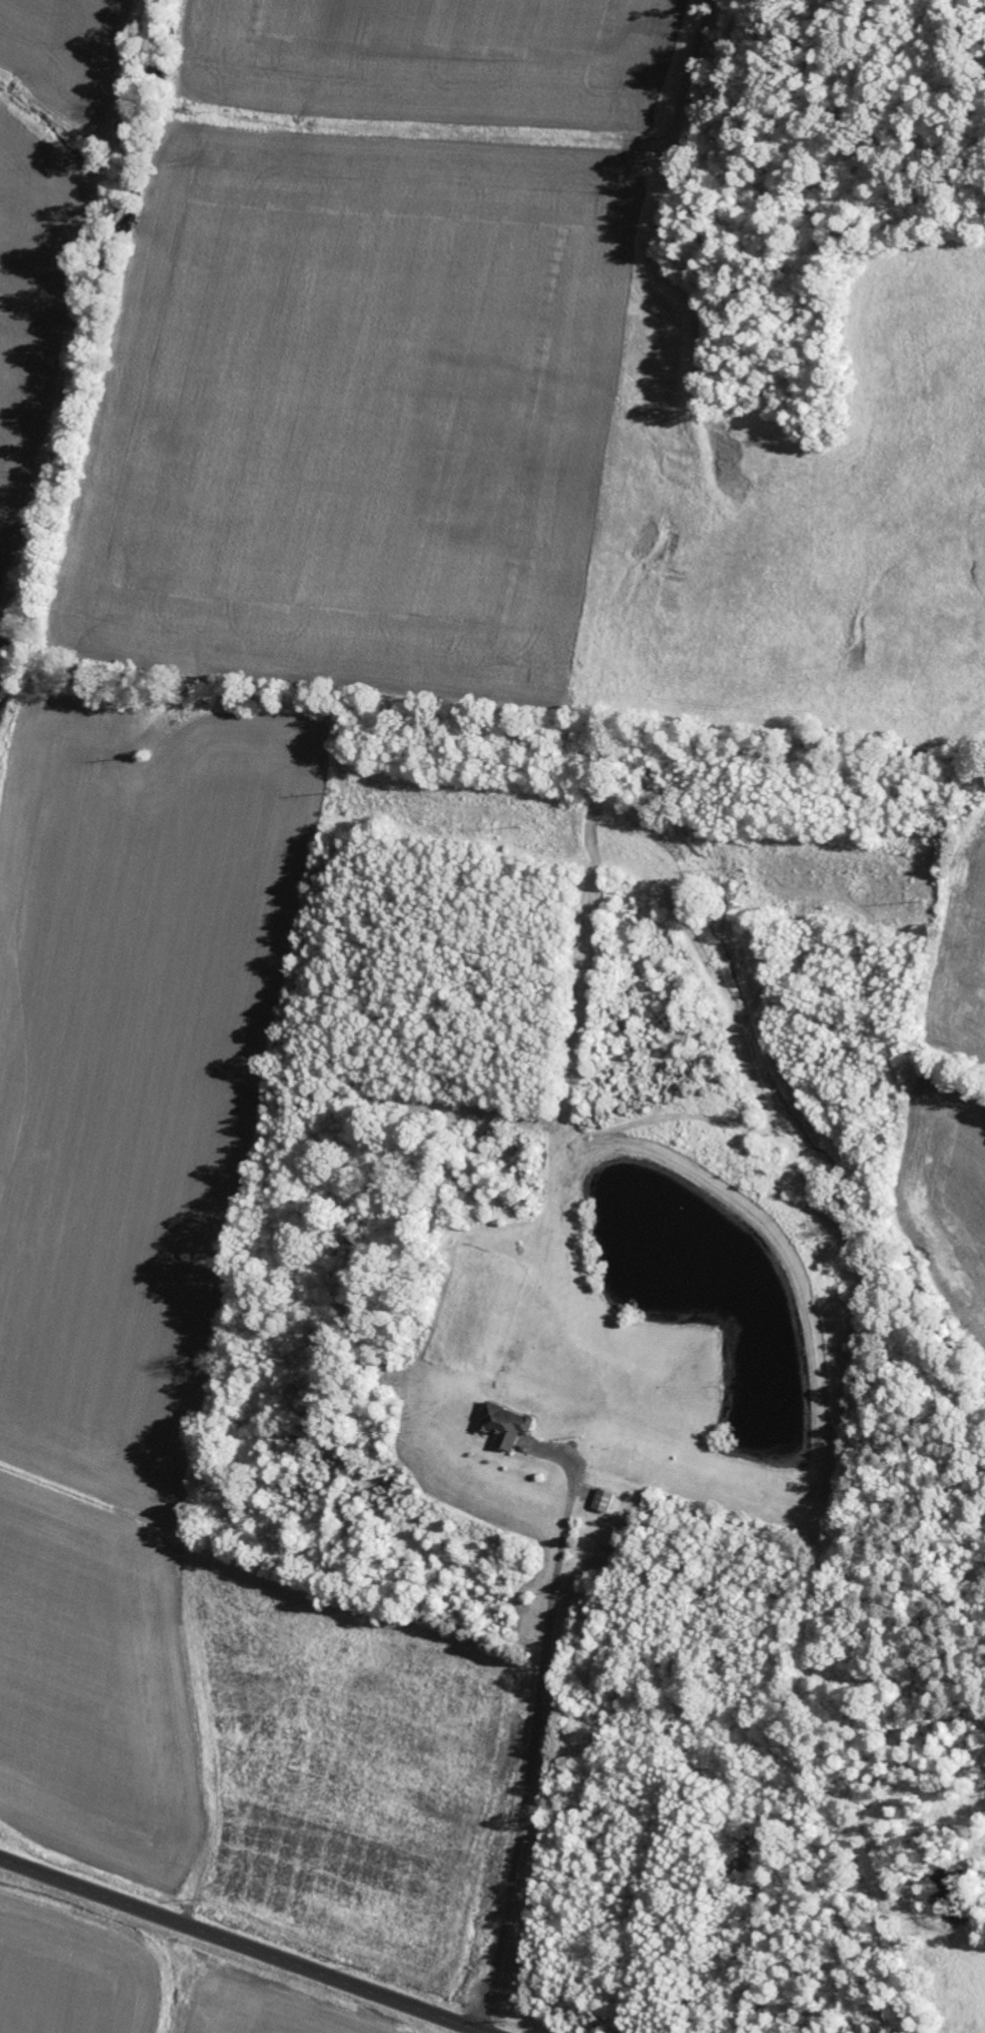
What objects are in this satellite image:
building: (506, 1425)
building: (604, 1501)
road: (543, 1659)
road: (242, 1945)

